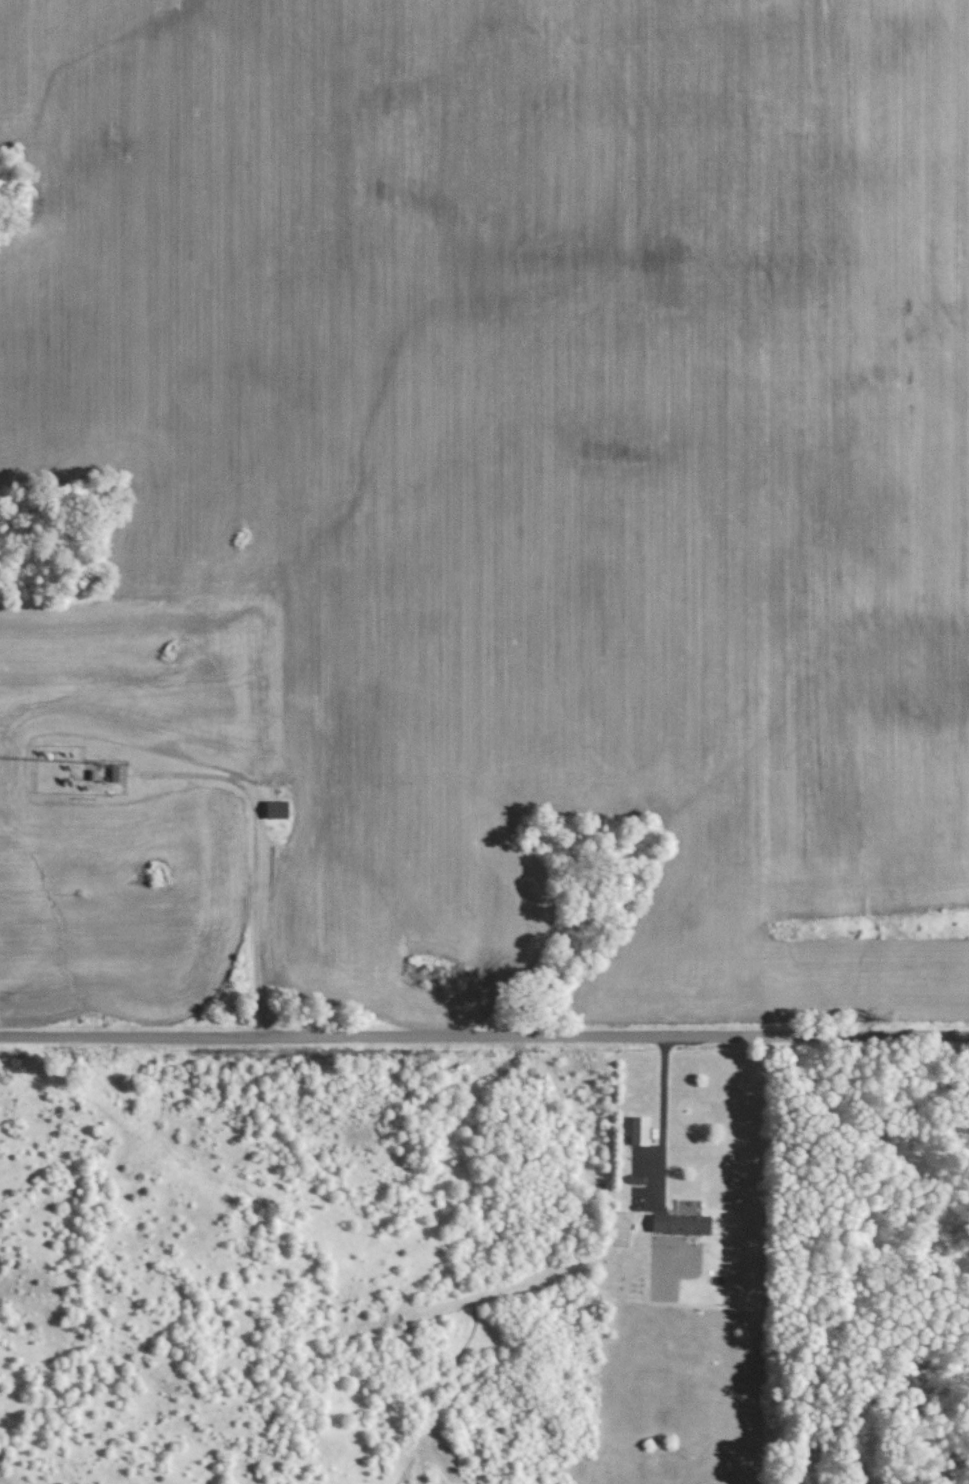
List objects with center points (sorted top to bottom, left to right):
building: (117, 772)
building: (275, 808)
road: (256, 857)
road: (484, 1033)
road: (663, 1119)
building: (679, 1223)

